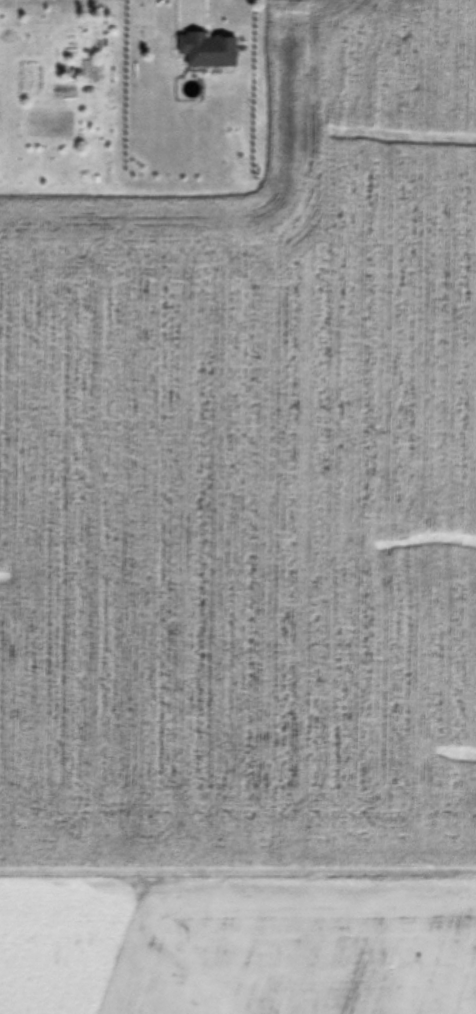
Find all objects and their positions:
building: (205, 50)

